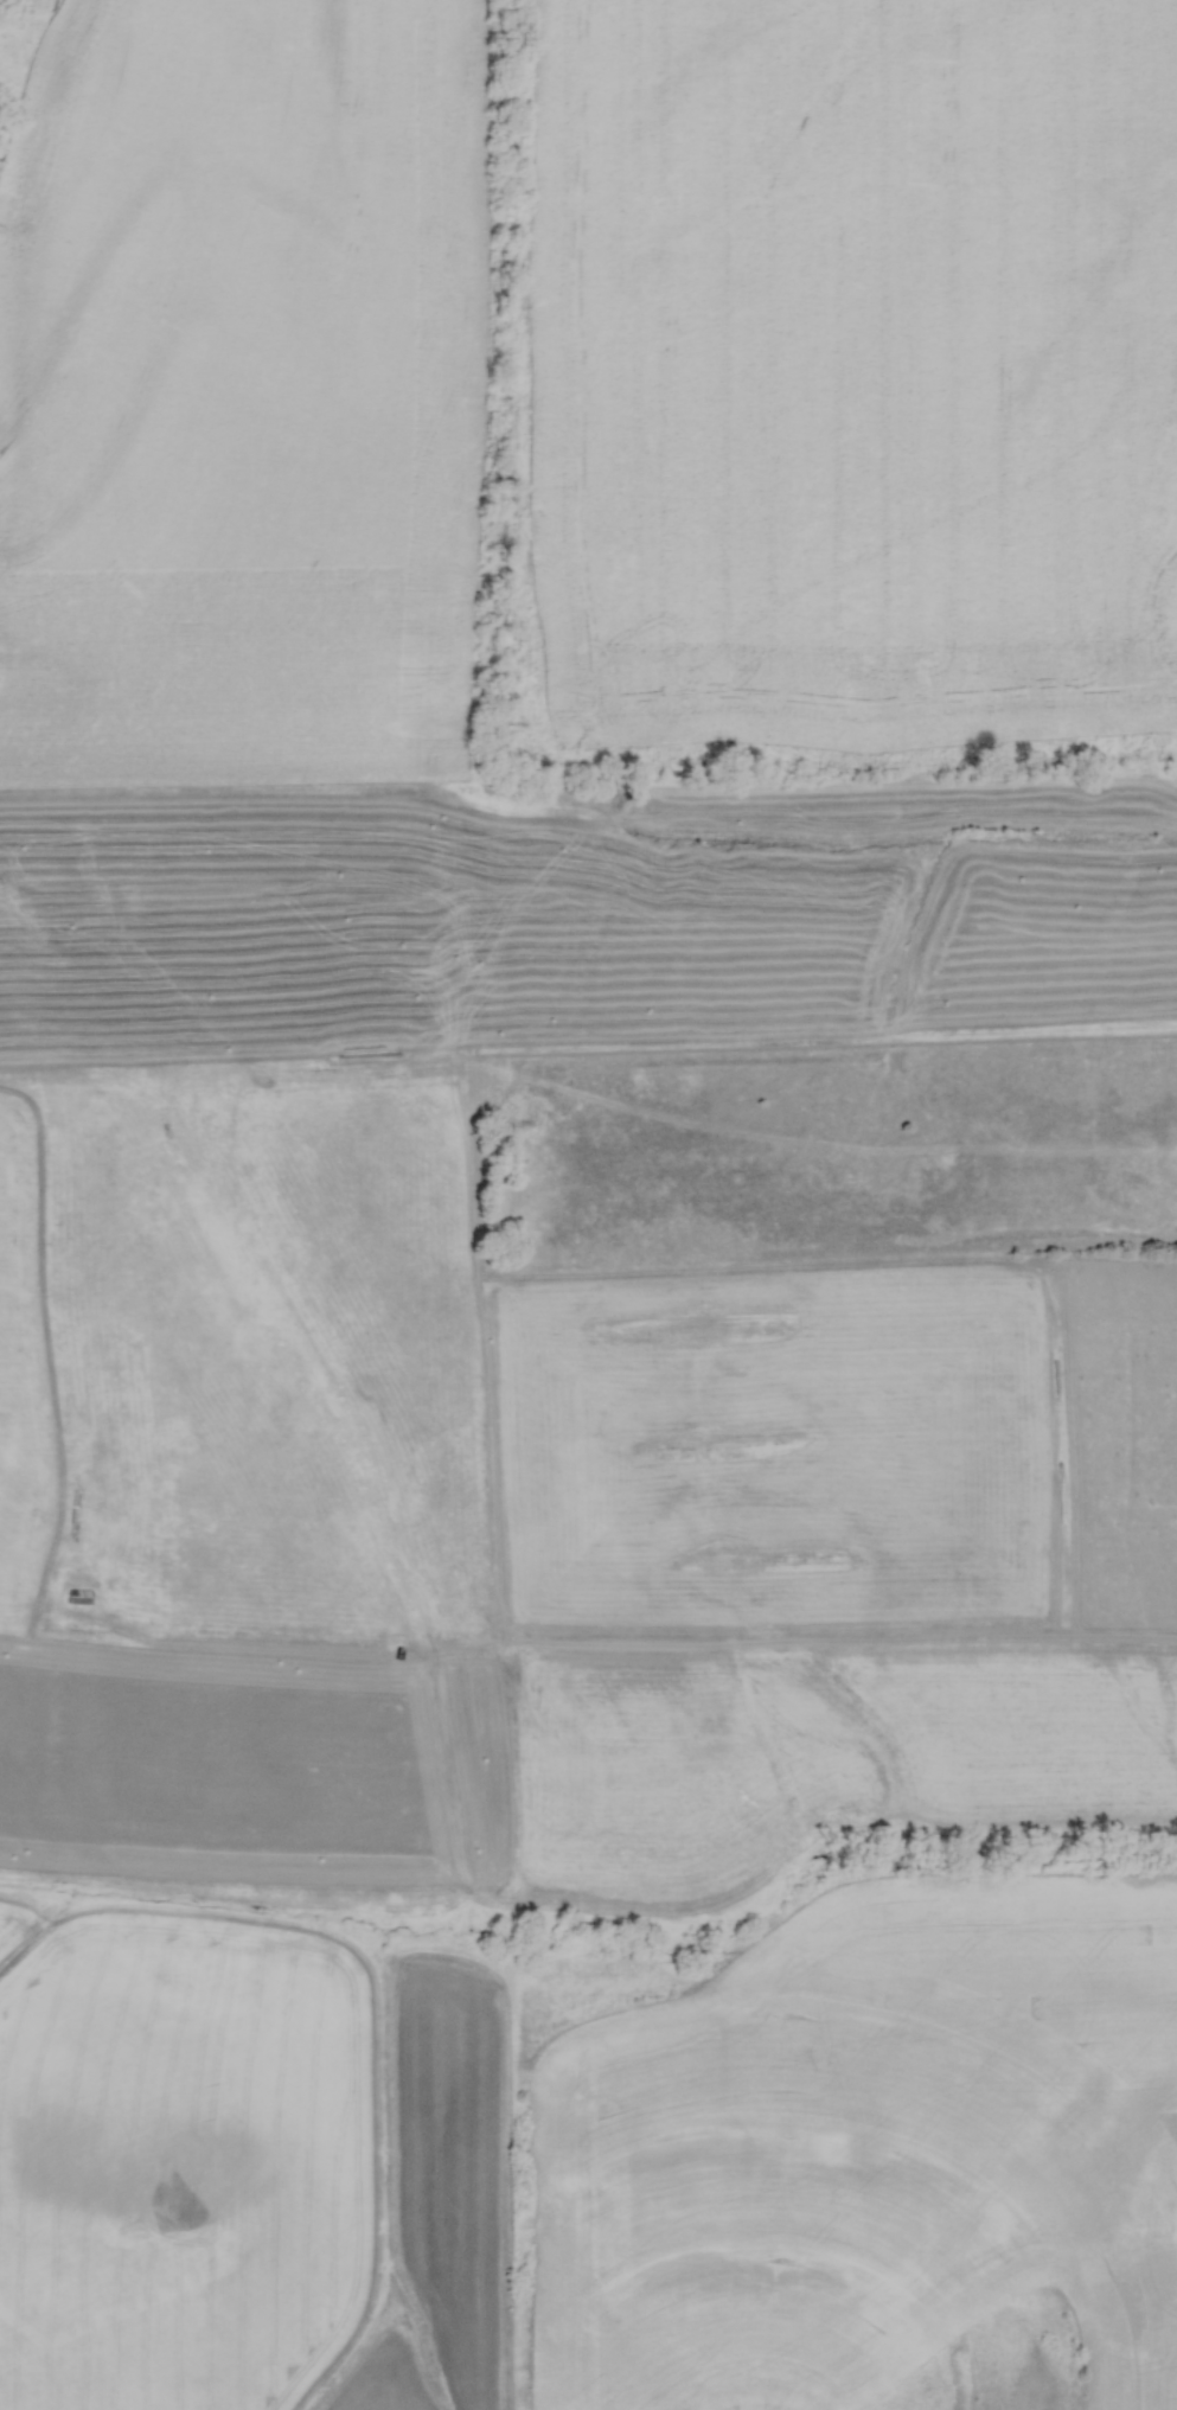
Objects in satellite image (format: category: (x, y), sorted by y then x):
building: (77, 1593)

